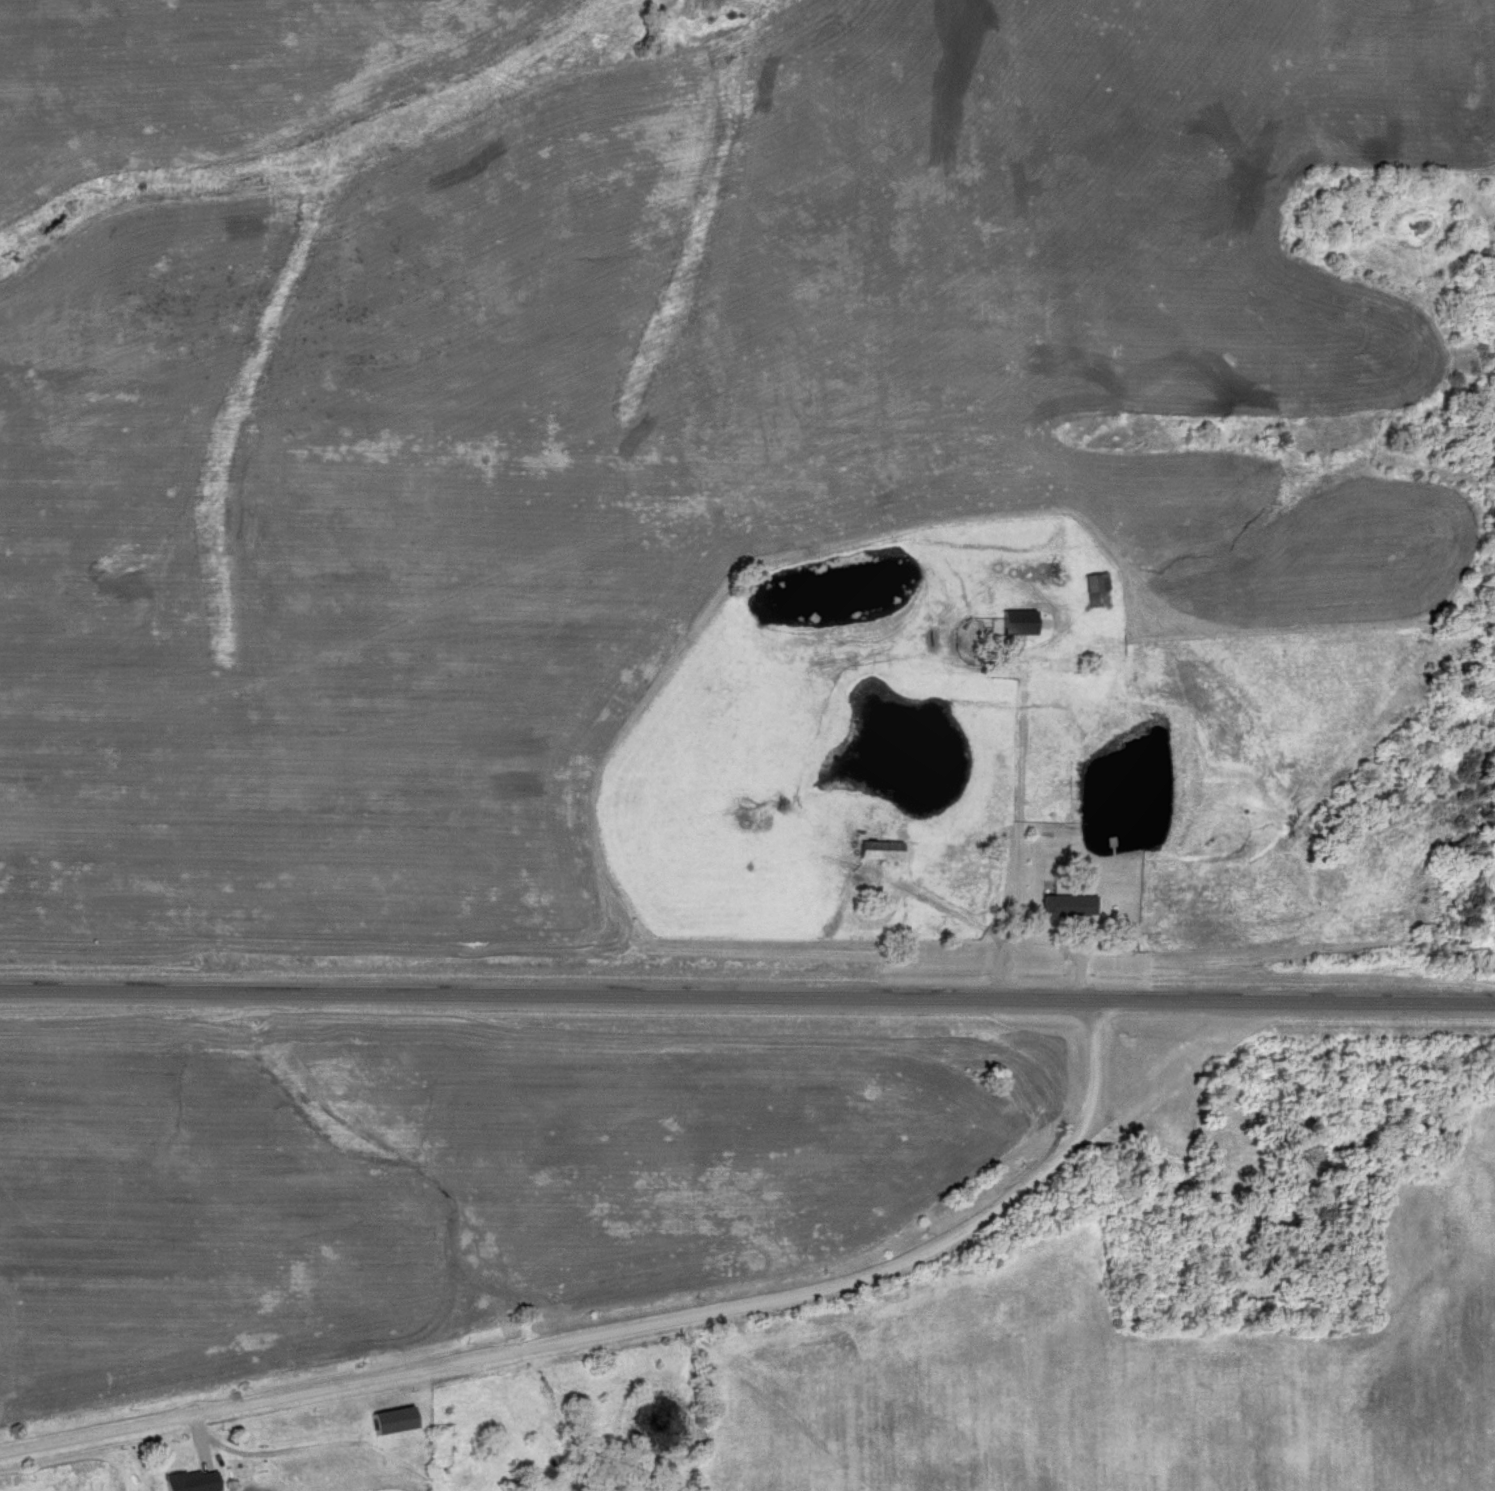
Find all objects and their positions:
building: (646, 43)
park: (1471, 554)
building: (1097, 583)
building: (1007, 628)
road: (1021, 825)
building: (881, 851)
building: (1069, 907)
road: (1068, 940)
road: (747, 998)
park: (1273, 1251)
road: (632, 1330)
building: (395, 1421)
building: (192, 1481)

